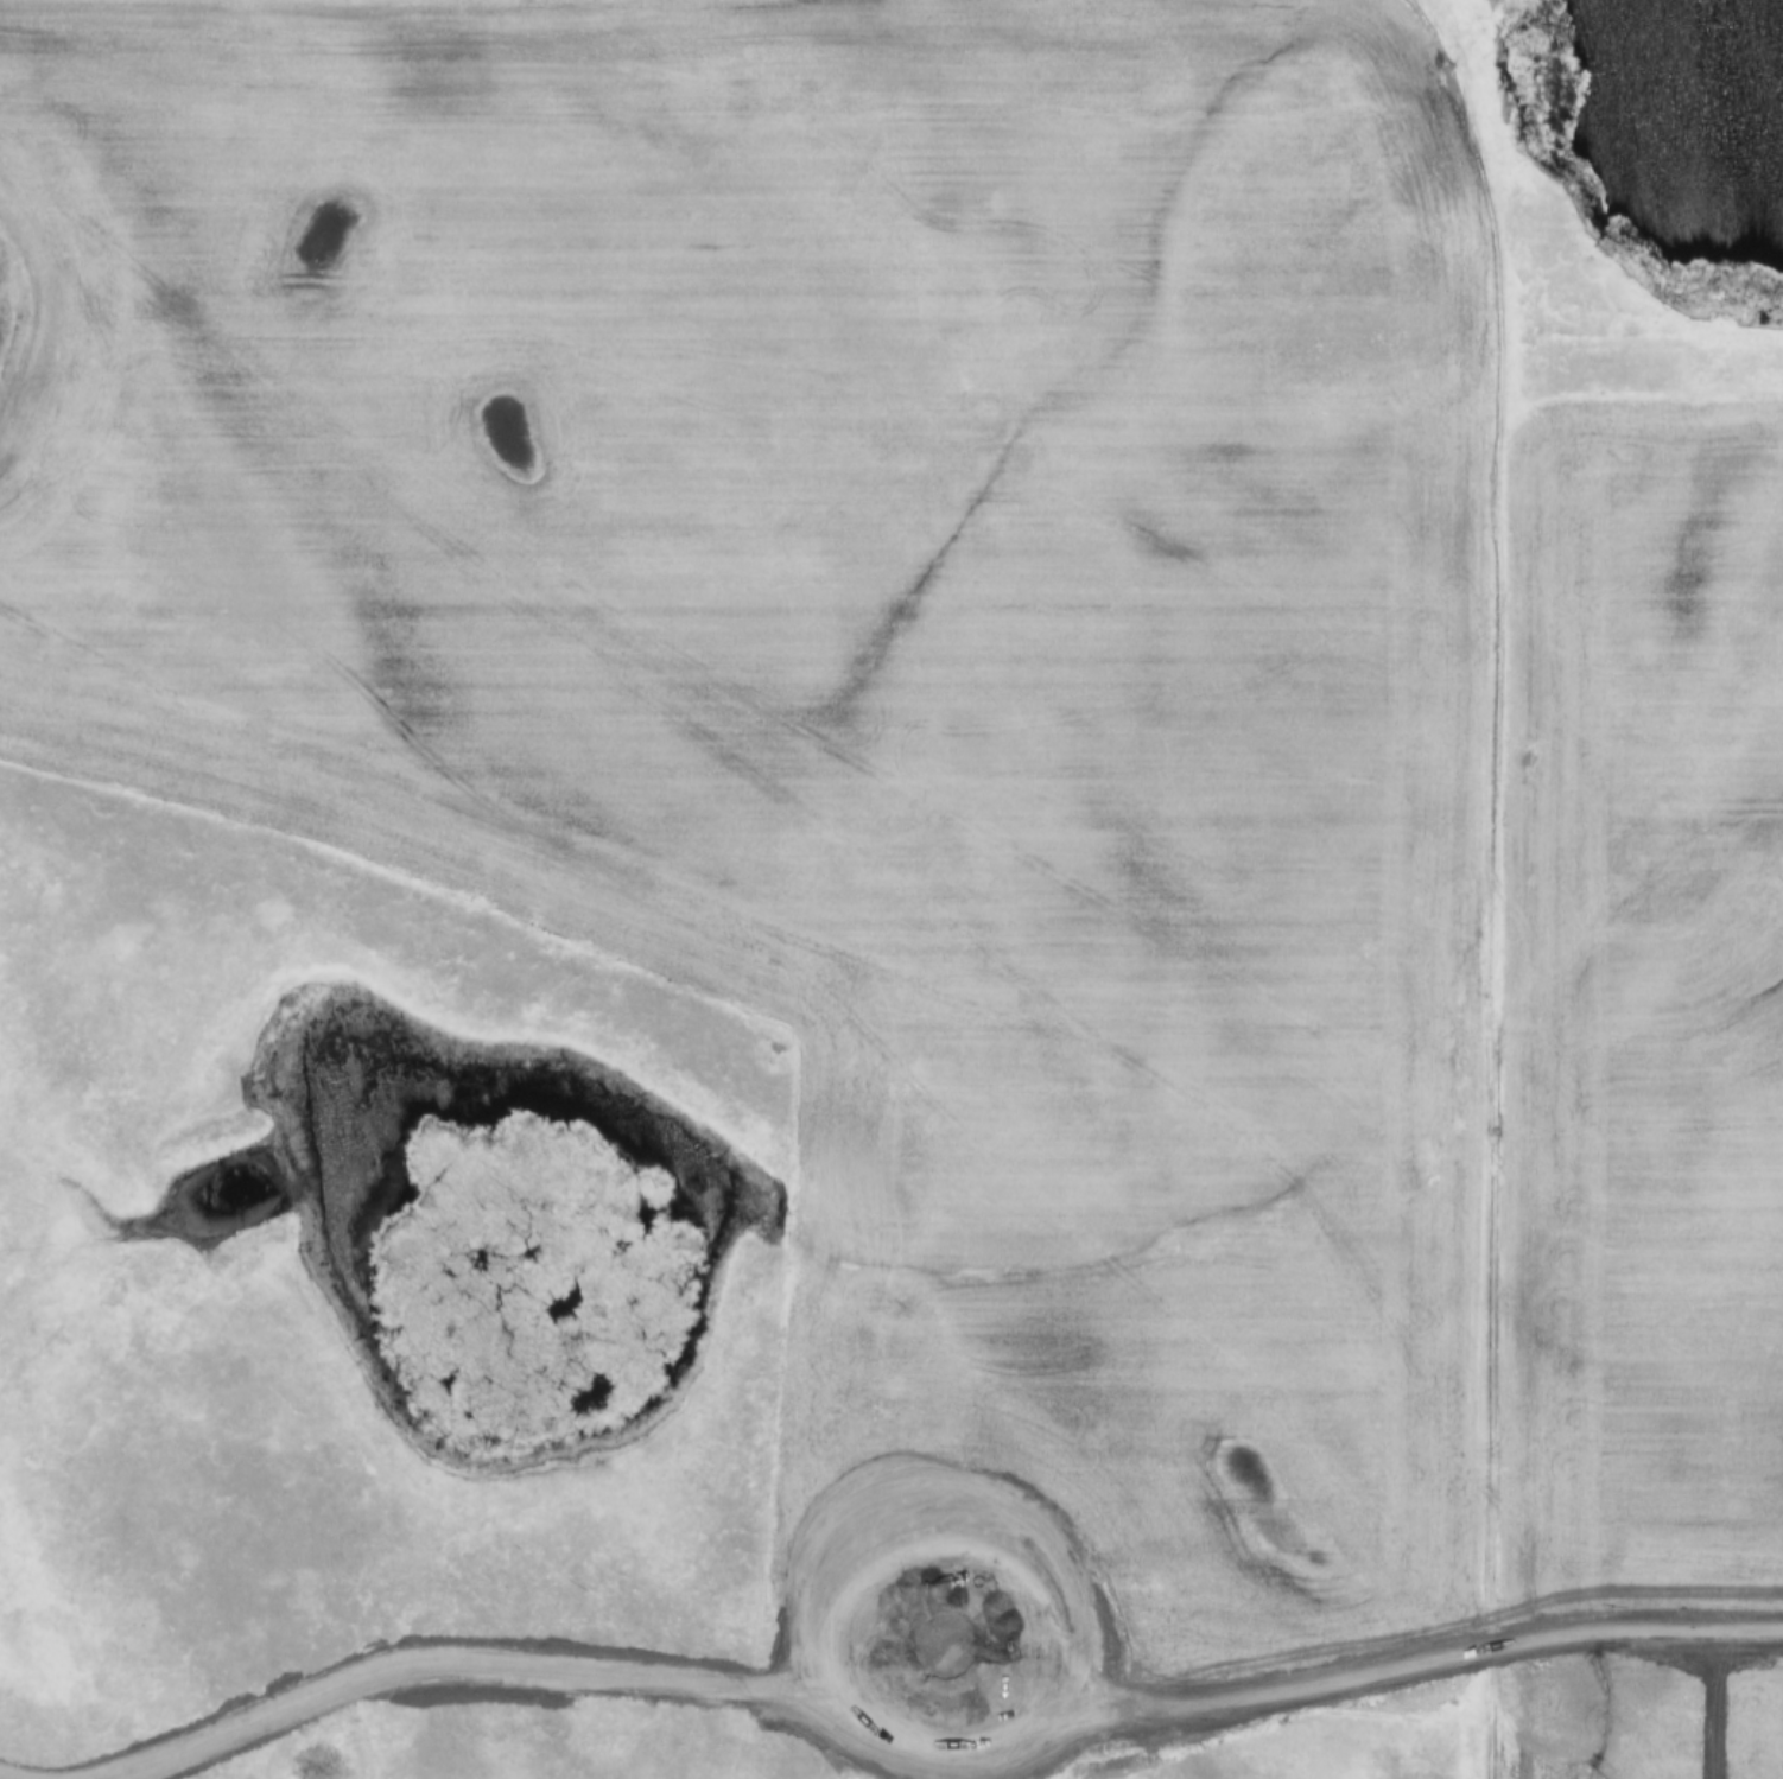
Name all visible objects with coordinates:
road: (1500, 883)
wind turbine: (947, 1648)

